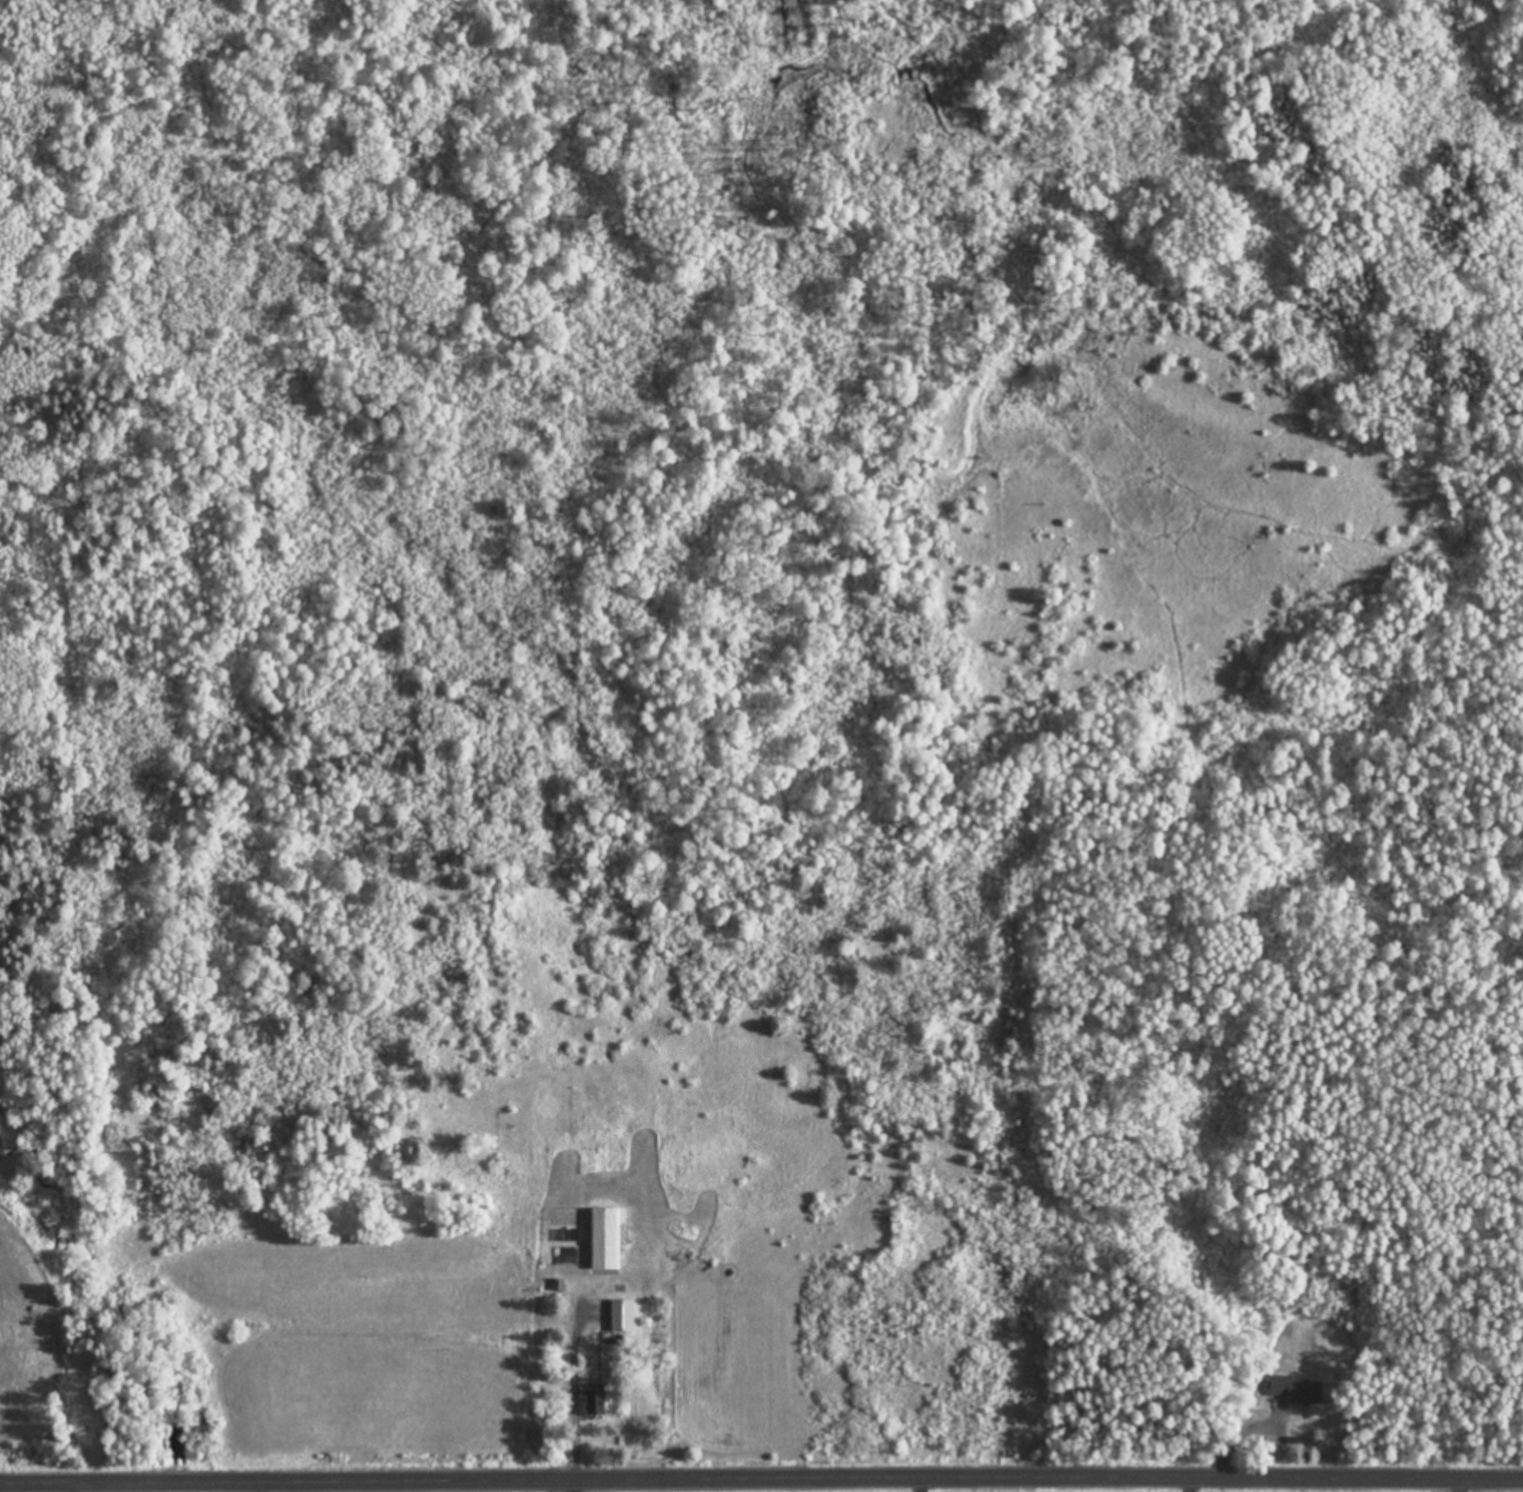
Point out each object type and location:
building: (606, 1239)
building: (618, 1315)
building: (1297, 1390)
building: (596, 1398)
road: (761, 1472)
road: (88, 1487)

